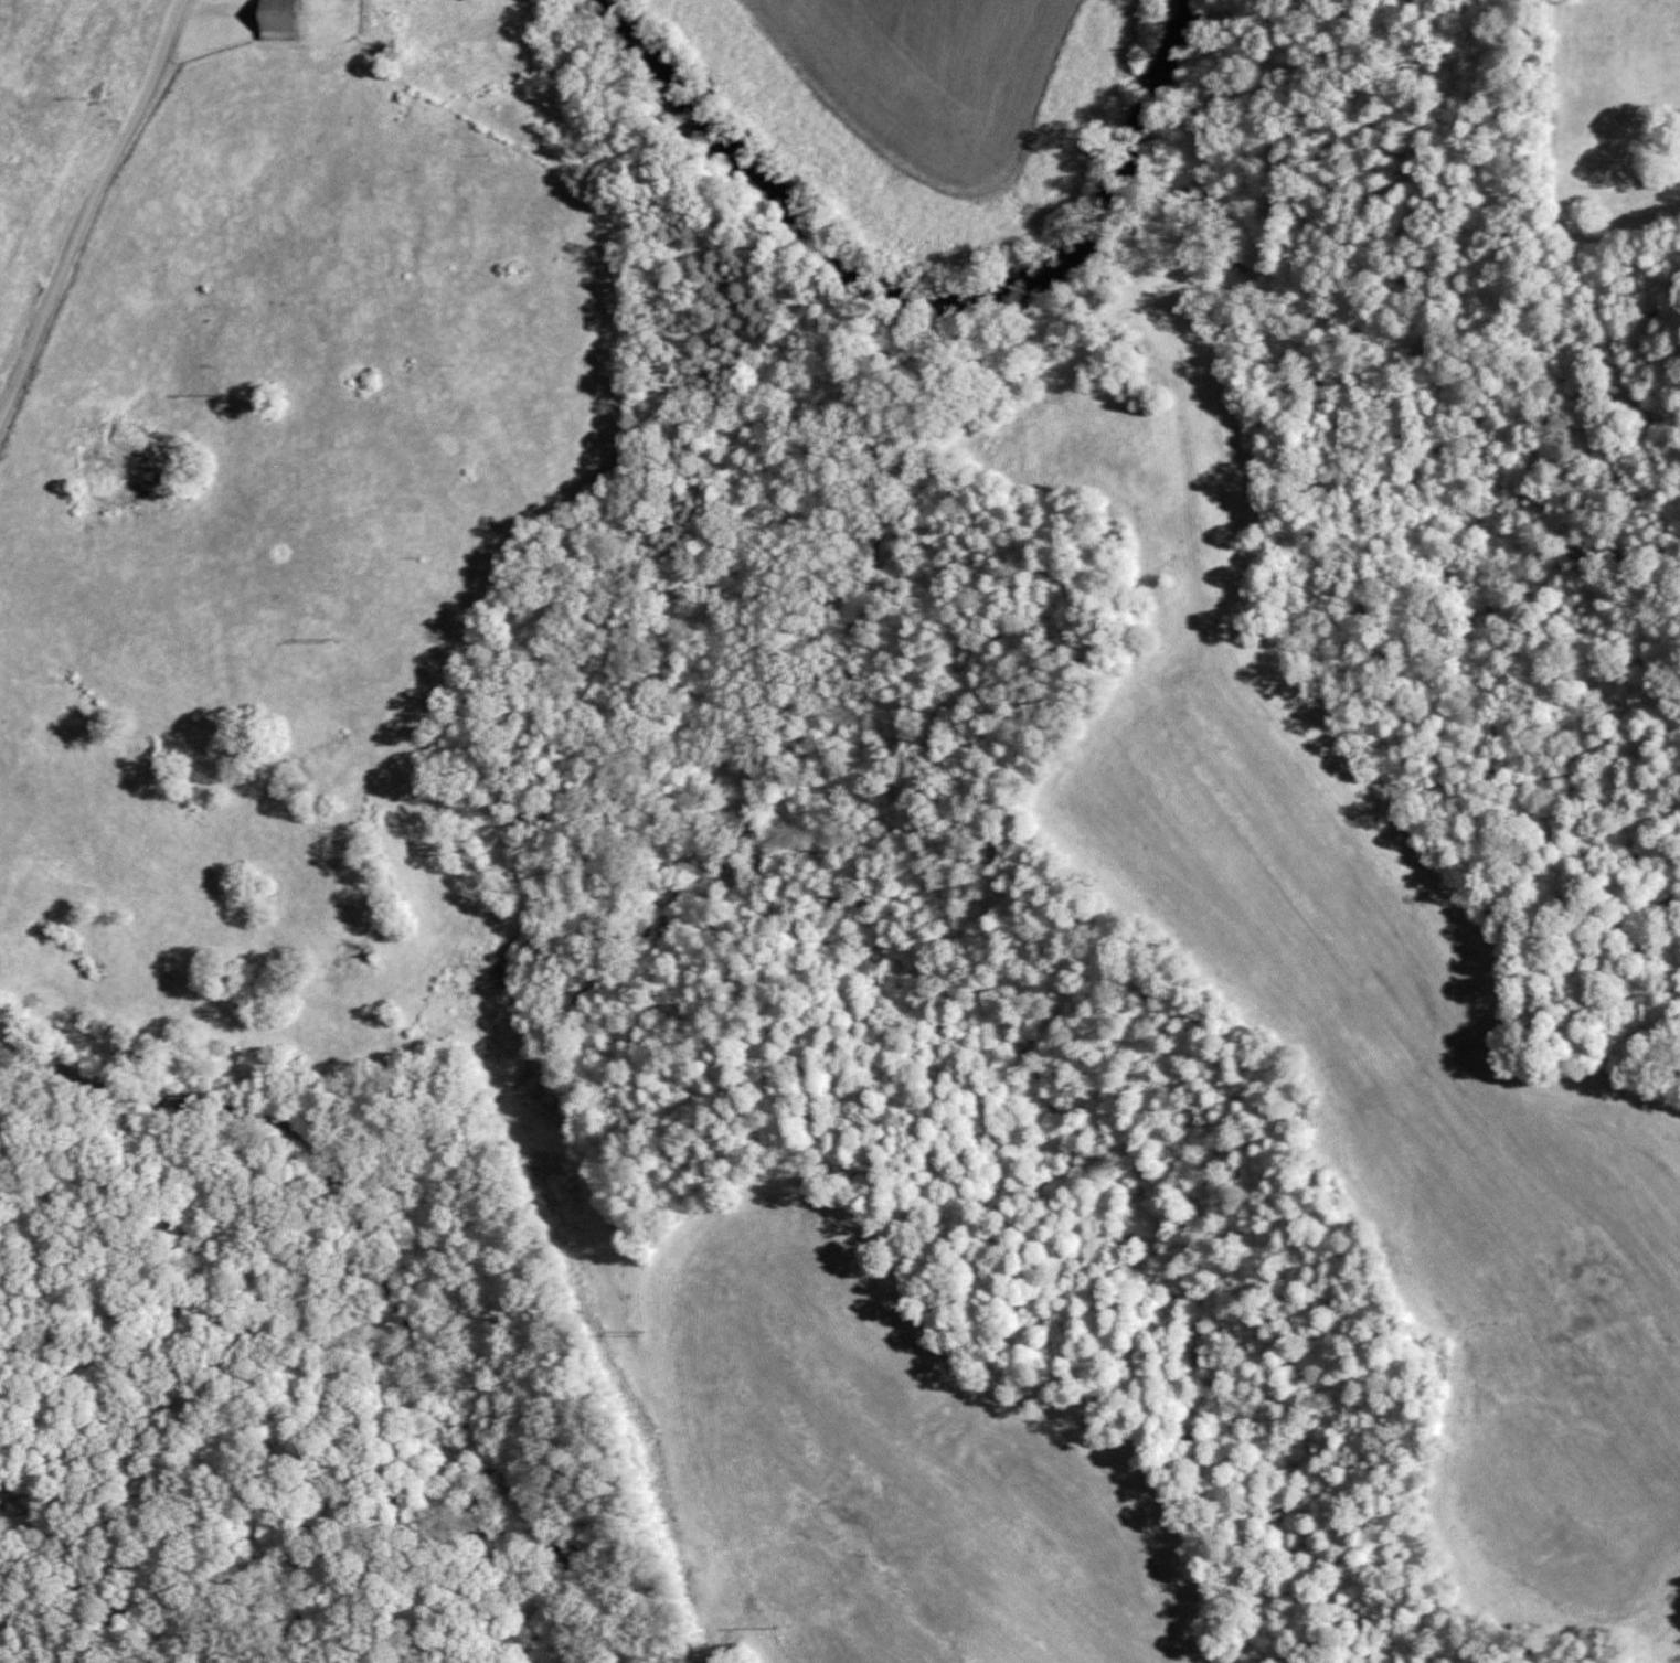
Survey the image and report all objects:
building: (275, 19)
river: (928, 295)
road: (194, 1105)
road: (500, 1462)

